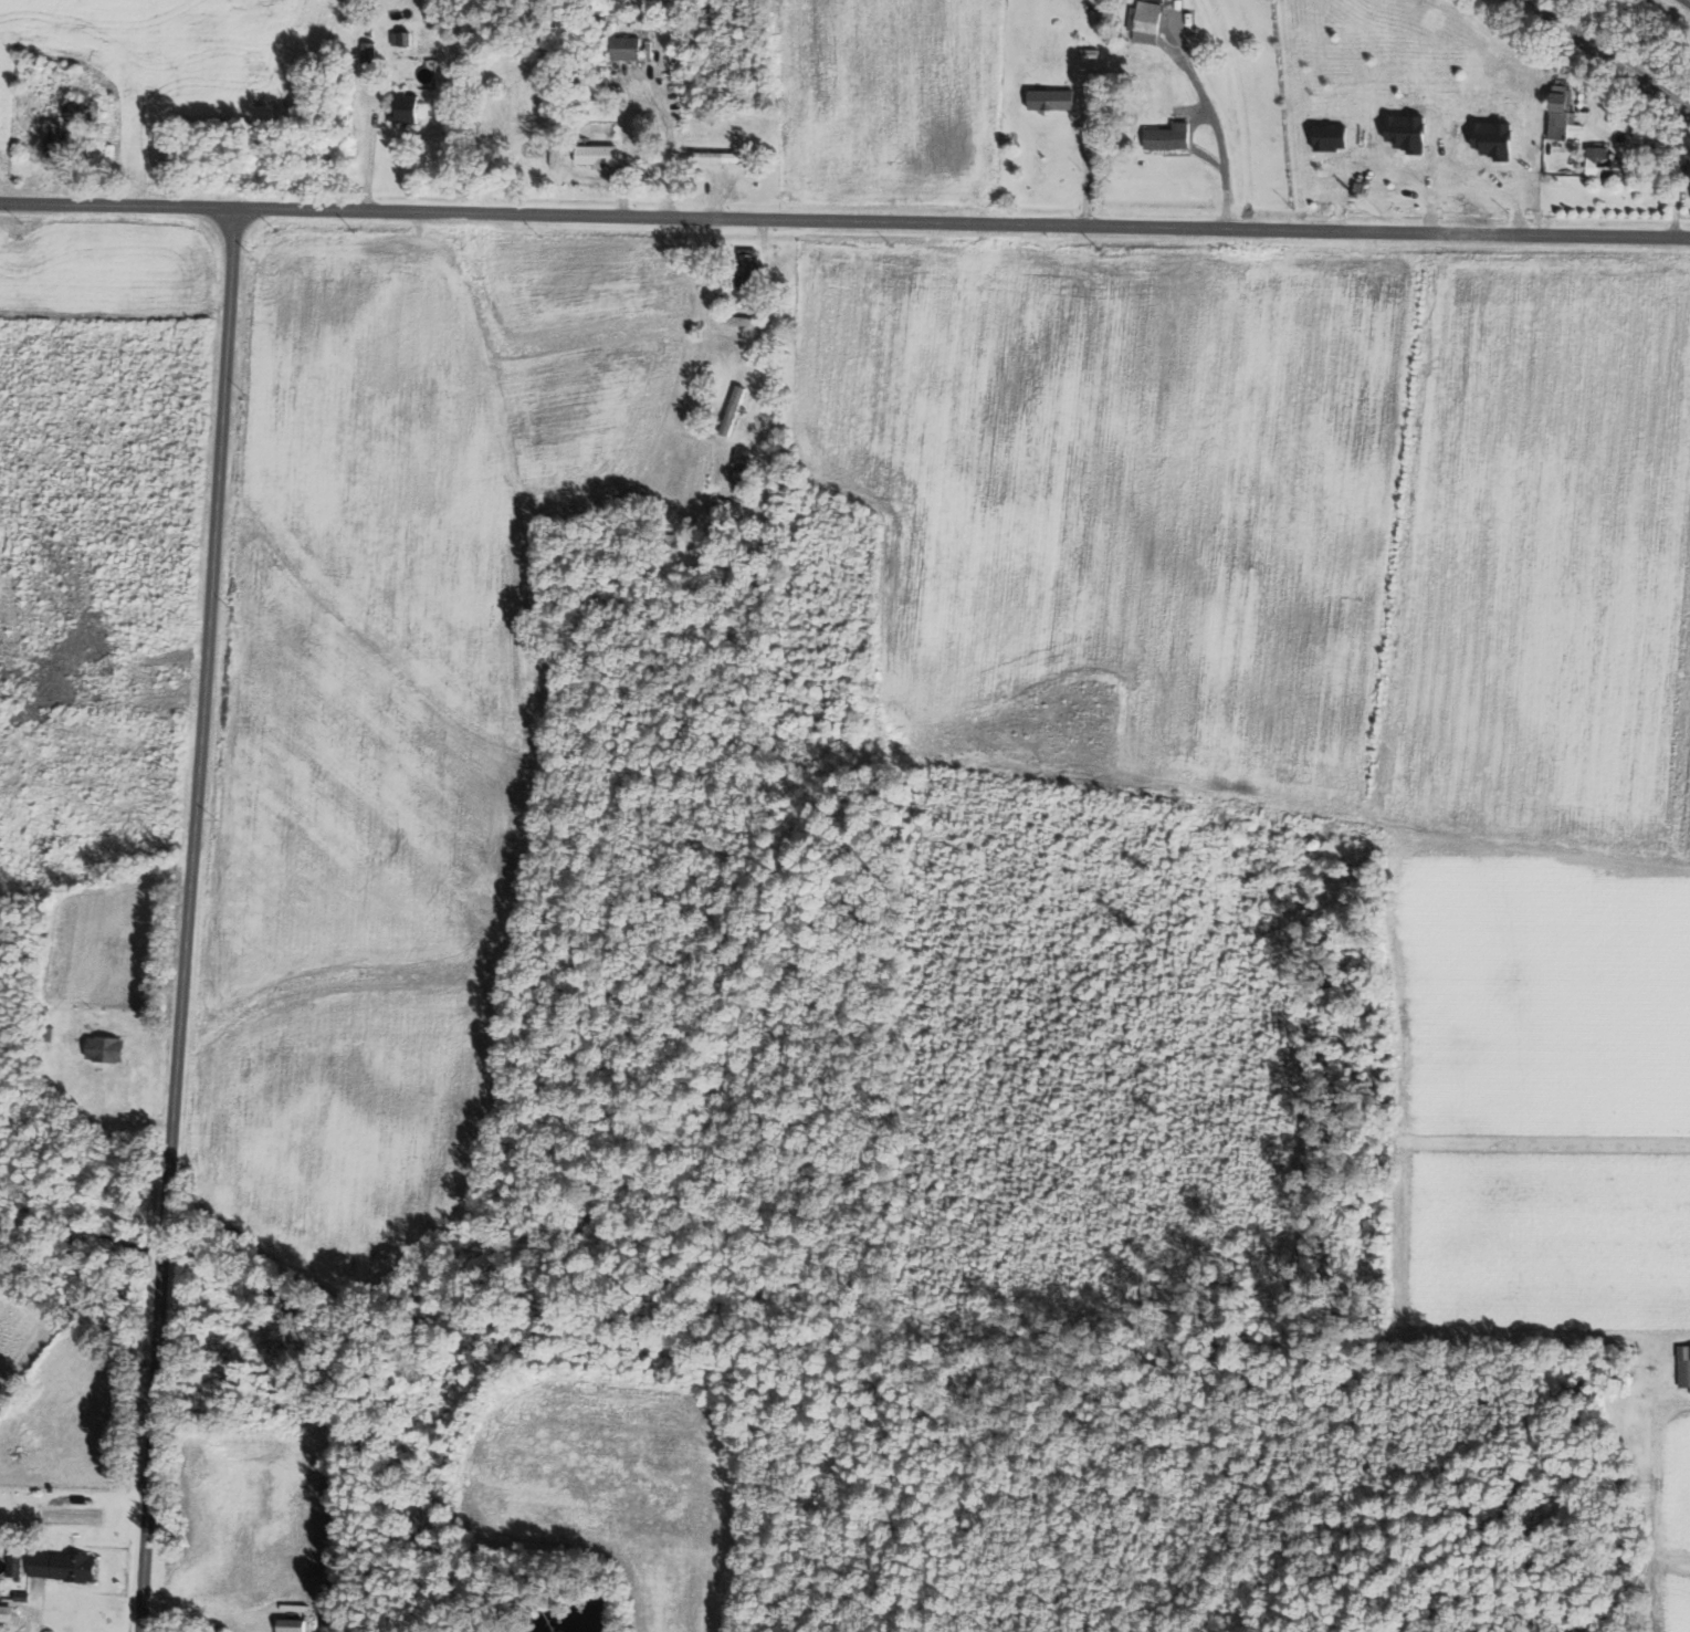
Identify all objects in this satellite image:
road: (1689, 0)
building: (1146, 21)
building: (403, 38)
building: (630, 46)
railway: (1609, 51)
building: (1093, 52)
building: (369, 54)
building: (1054, 98)
building: (409, 108)
building: (85, 109)
building: (1557, 116)
building: (1172, 136)
road: (1218, 136)
building: (57, 144)
building: (600, 154)
building: (722, 156)
building: (1597, 163)
road: (116, 203)
road: (961, 226)
building: (749, 269)
building: (749, 321)
building: (735, 409)
road: (1360, 818)
road: (185, 920)
building: (112, 1049)
building: (1682, 1371)
building: (66, 1566)
building: (8, 1612)
road: (34, 1614)
building: (296, 1624)

